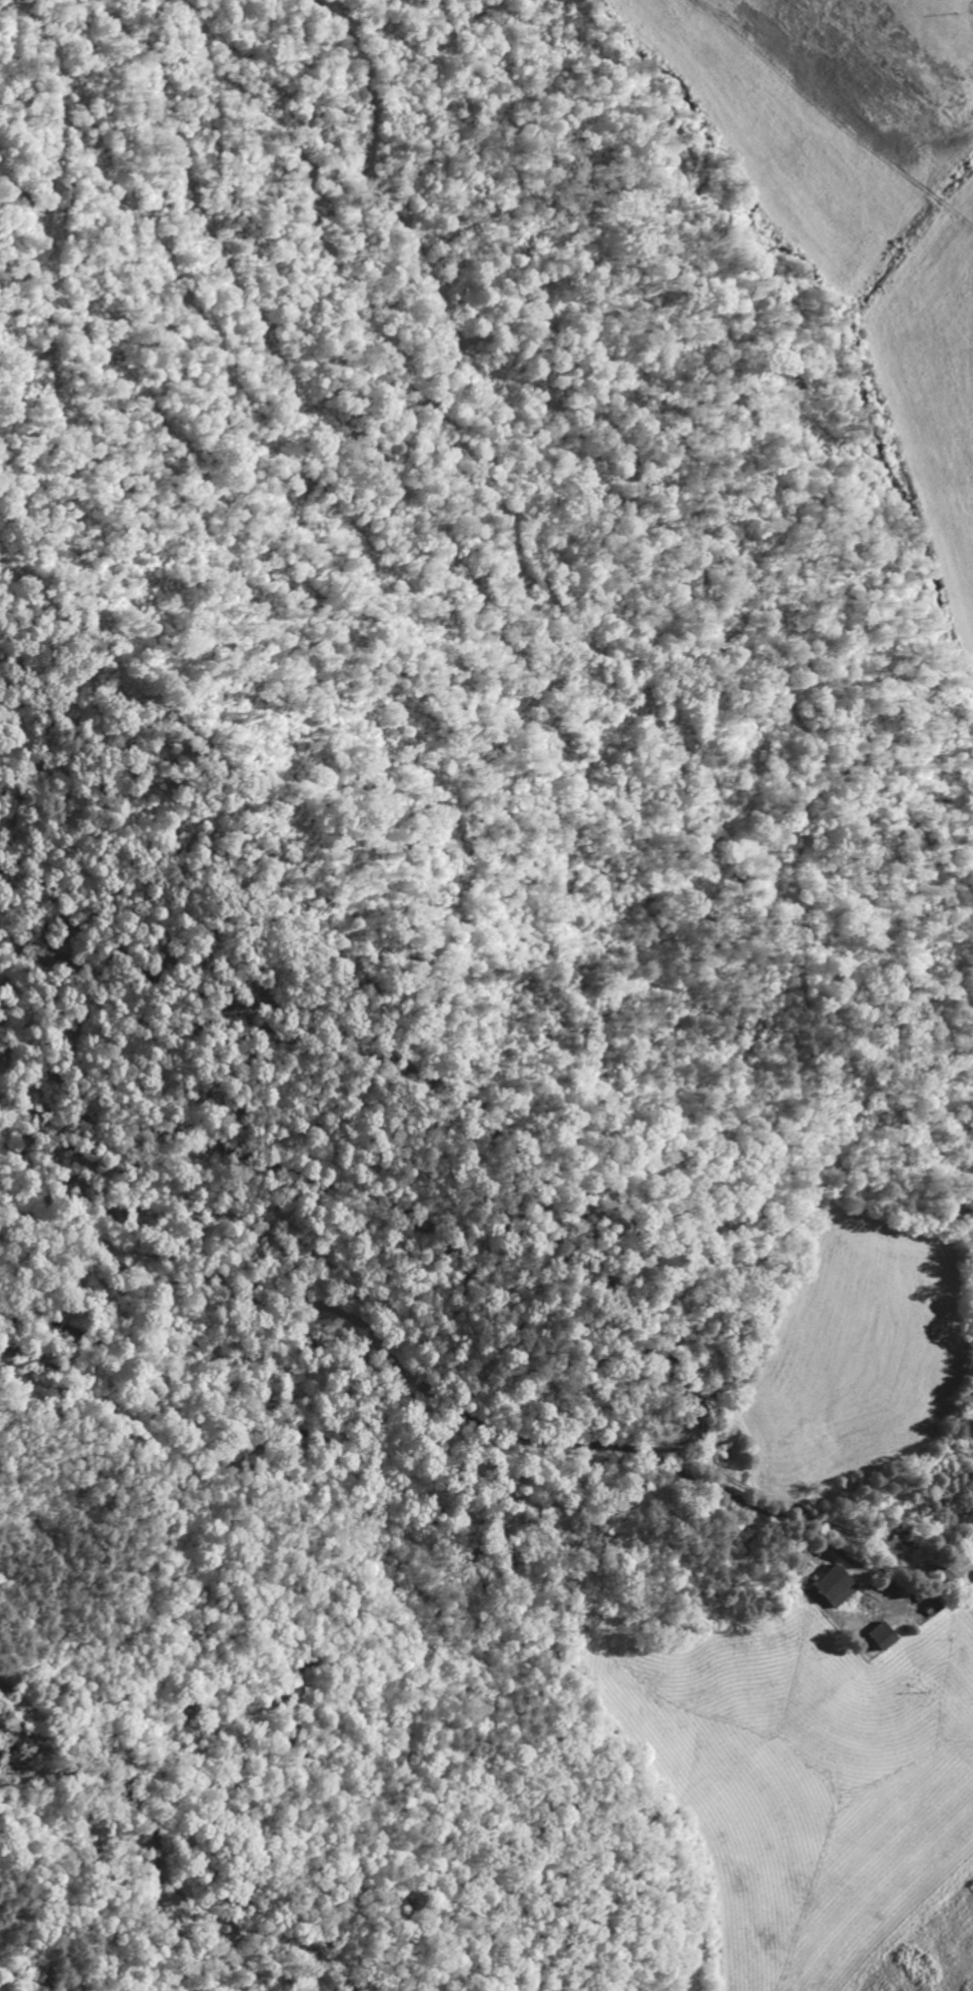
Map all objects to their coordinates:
road: (476, 1421)
building: (839, 1587)
building: (886, 1637)

